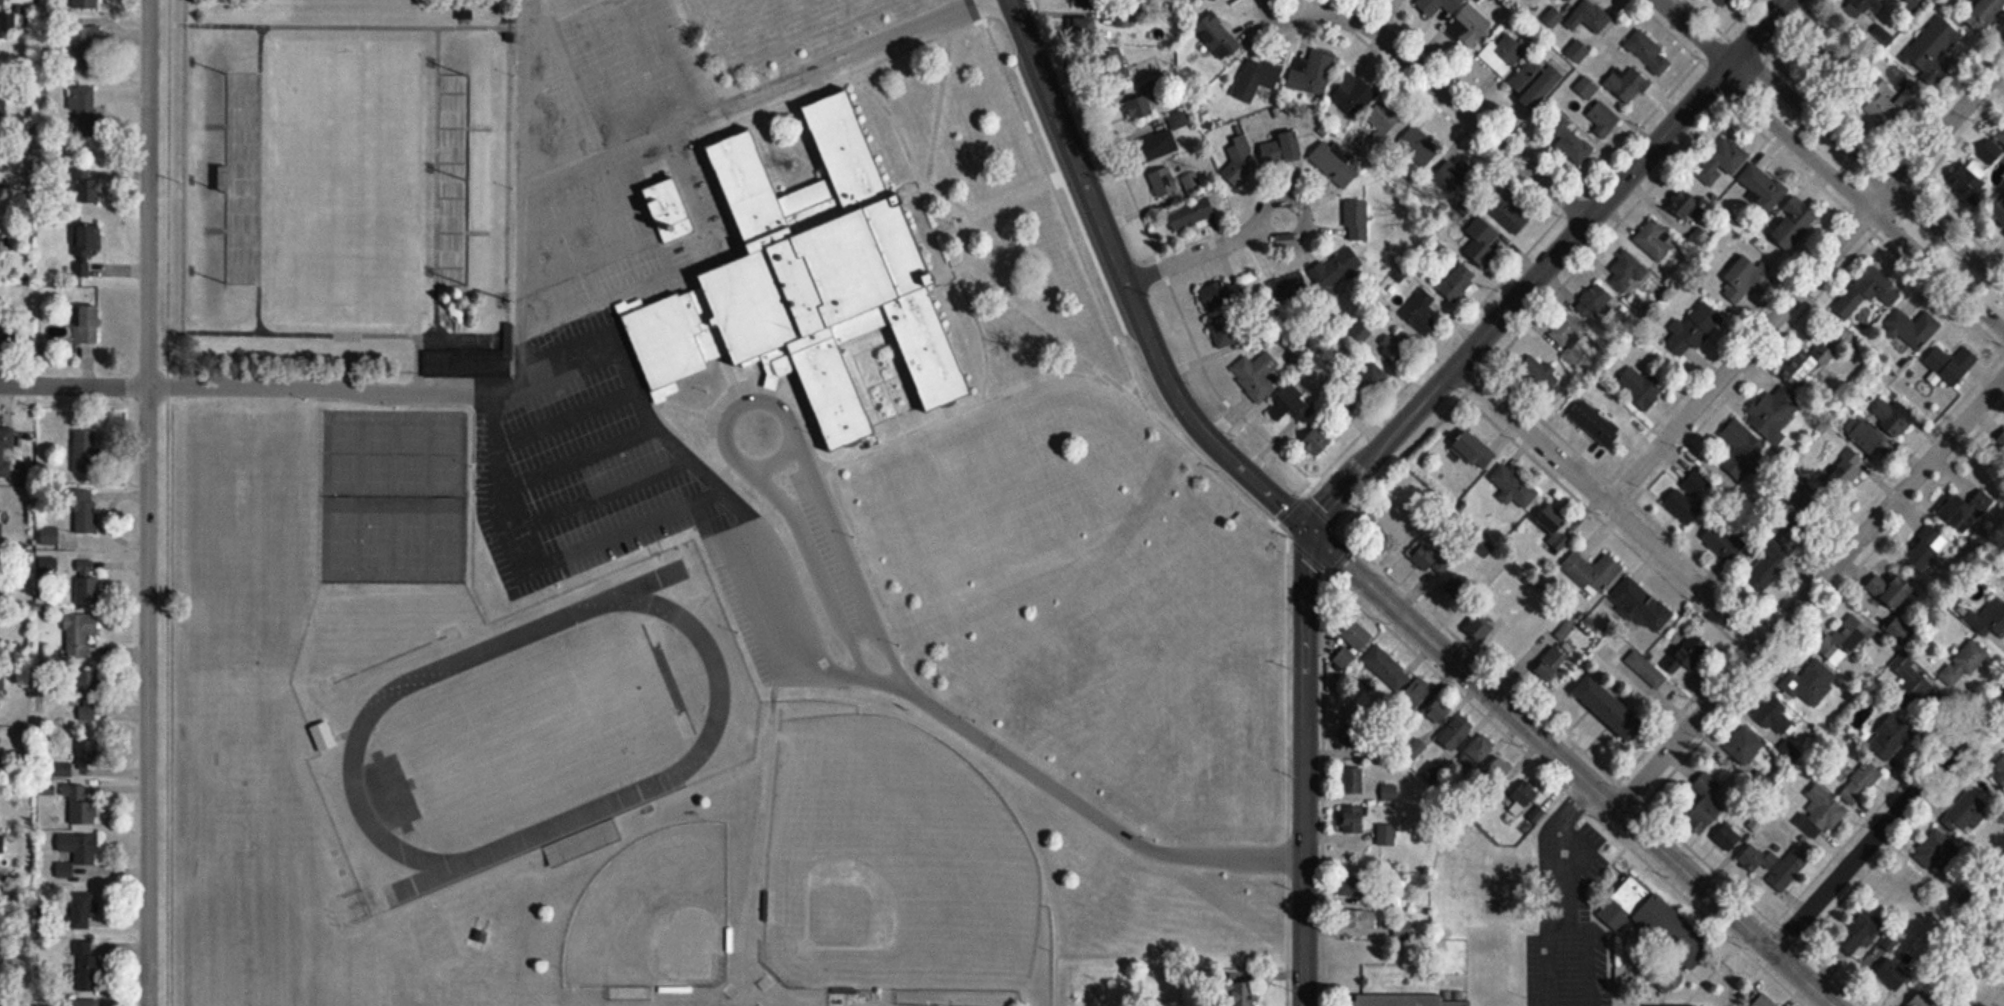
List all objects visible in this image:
building: (1089, 0)
building: (1204, 0)
road: (531, 1)
building: (1, 2)
building: (1722, 2)
building: (85, 4)
building: (1439, 5)
building: (1858, 7)
building: (1557, 10)
building: (1983, 12)
building: (1588, 18)
building: (8, 26)
building: (1468, 26)
building: (1086, 30)
road: (1694, 32)
building: (1217, 37)
building: (1931, 45)
building: (83, 50)
building: (1503, 53)
building: (1649, 53)
road: (854, 56)
building: (1136, 65)
building: (1805, 71)
building: (1312, 72)
road: (856, 74)
building: (1256, 79)
road: (1436, 83)
building: (1535, 83)
building: (1628, 85)
building: (1586, 88)
building: (1350, 95)
building: (2, 100)
building: (83, 107)
building: (1892, 108)
road: (940, 112)
building: (1603, 120)
building: (1385, 125)
road: (895, 127)
building: (2000, 135)
building: (1569, 140)
building: (1158, 146)
building: (1419, 147)
building: (1990, 153)
road: (1877, 154)
building: (1263, 155)
building: (1722, 161)
building: (1335, 165)
road: (1871, 168)
building: (3, 179)
building: (86, 181)
building: (1969, 182)
building: (1163, 184)
building: (1193, 184)
building: (1762, 188)
road: (534, 191)
road: (1860, 201)
park: (350, 203)
road: (1061, 203)
building: (1685, 205)
road: (997, 209)
building: (670, 211)
building: (1191, 214)
building: (1511, 215)
building: (1998, 216)
road: (1857, 217)
building: (1357, 220)
road: (972, 221)
building: (1794, 222)
road: (1302, 233)
building: (1482, 240)
building: (1654, 241)
building: (87, 247)
building: (0, 250)
road: (1195, 257)
building: (243, 264)
road: (1549, 264)
building: (1336, 269)
building: (1627, 272)
building: (1738, 278)
road: (1805, 281)
building: (807, 283)
building: (1459, 283)
road: (1126, 286)
building: (1288, 288)
building: (1859, 293)
road: (524, 294)
building: (1594, 301)
building: (1222, 310)
building: (1419, 312)
building: (88, 326)
building: (1693, 329)
building: (1912, 329)
parking lot: (569, 335)
road: (984, 336)
building: (1567, 340)
building: (1401, 349)
building: (1809, 361)
building: (1951, 364)
building: (440, 374)
building: (1257, 375)
building: (1539, 378)
building: (1373, 380)
road: (73, 385)
building: (1640, 387)
road: (279, 393)
building: (1288, 403)
road: (971, 410)
building: (1774, 416)
building: (1894, 418)
building: (1596, 424)
road: (724, 426)
building: (1865, 436)
building: (2001, 441)
building: (1316, 442)
building: (1741, 448)
building: (1475, 450)
building: (85, 451)
building: (2, 456)
road: (673, 463)
building: (1846, 469)
building: (1694, 483)
building: (1513, 487)
park: (397, 500)
road: (147, 502)
road: (1610, 505)
building: (1682, 507)
building: (1966, 510)
building: (86, 513)
road: (1283, 519)
building: (1557, 527)
building: (0, 532)
building: (50, 536)
building: (1926, 550)
road: (845, 555)
building: (1432, 559)
road: (1078, 563)
road: (1287, 563)
road: (812, 566)
building: (1592, 572)
building: (2003, 573)
building: (1764, 574)
building: (87, 582)
building: (1460, 588)
road: (1811, 591)
building: (1892, 591)
building: (1639, 605)
building: (1991, 619)
building: (1484, 624)
building: (79, 634)
building: (1355, 634)
building: (1844, 639)
building: (1519, 643)
building: (1690, 653)
building: (1345, 657)
building: (1552, 663)
building: (1963, 663)
building: (1386, 667)
building: (1650, 673)
building: (374, 677)
building: (1809, 682)
building: (1913, 685)
building: (1419, 692)
building: (89, 698)
building: (1610, 707)
building: (1439, 711)
building: (1775, 715)
building: (1457, 733)
track: (366, 735)
building: (324, 736)
building: (1359, 736)
building: (1891, 738)
building: (1744, 746)
building: (1478, 751)
building: (87, 758)
road: (1572, 766)
road: (1306, 767)
building: (1501, 770)
building: (1998, 770)
building: (1353, 780)
building: (1860, 782)
building: (1521, 799)
building: (80, 805)
road: (1086, 808)
building: (1821, 811)
building: (1964, 814)
building: (1354, 819)
building: (1697, 821)
road: (1889, 821)
building: (1756, 823)
building: (1387, 834)
building: (1726, 839)
building: (3, 844)
building: (80, 847)
building: (1934, 850)
park: (889, 857)
building: (1756, 859)
building: (1789, 868)
building: (1897, 887)
road: (1555, 889)
building: (84, 909)
park: (651, 915)
building: (1650, 916)
building: (1358, 919)
building: (1403, 928)
building: (1861, 930)
road: (1582, 951)
building: (83, 966)
building: (1892, 975)
building: (1671, 980)
building: (1244, 994)
building: (1922, 1000)
building: (1412, 1001)
building: (1765, 1001)
building: (85, 1002)

